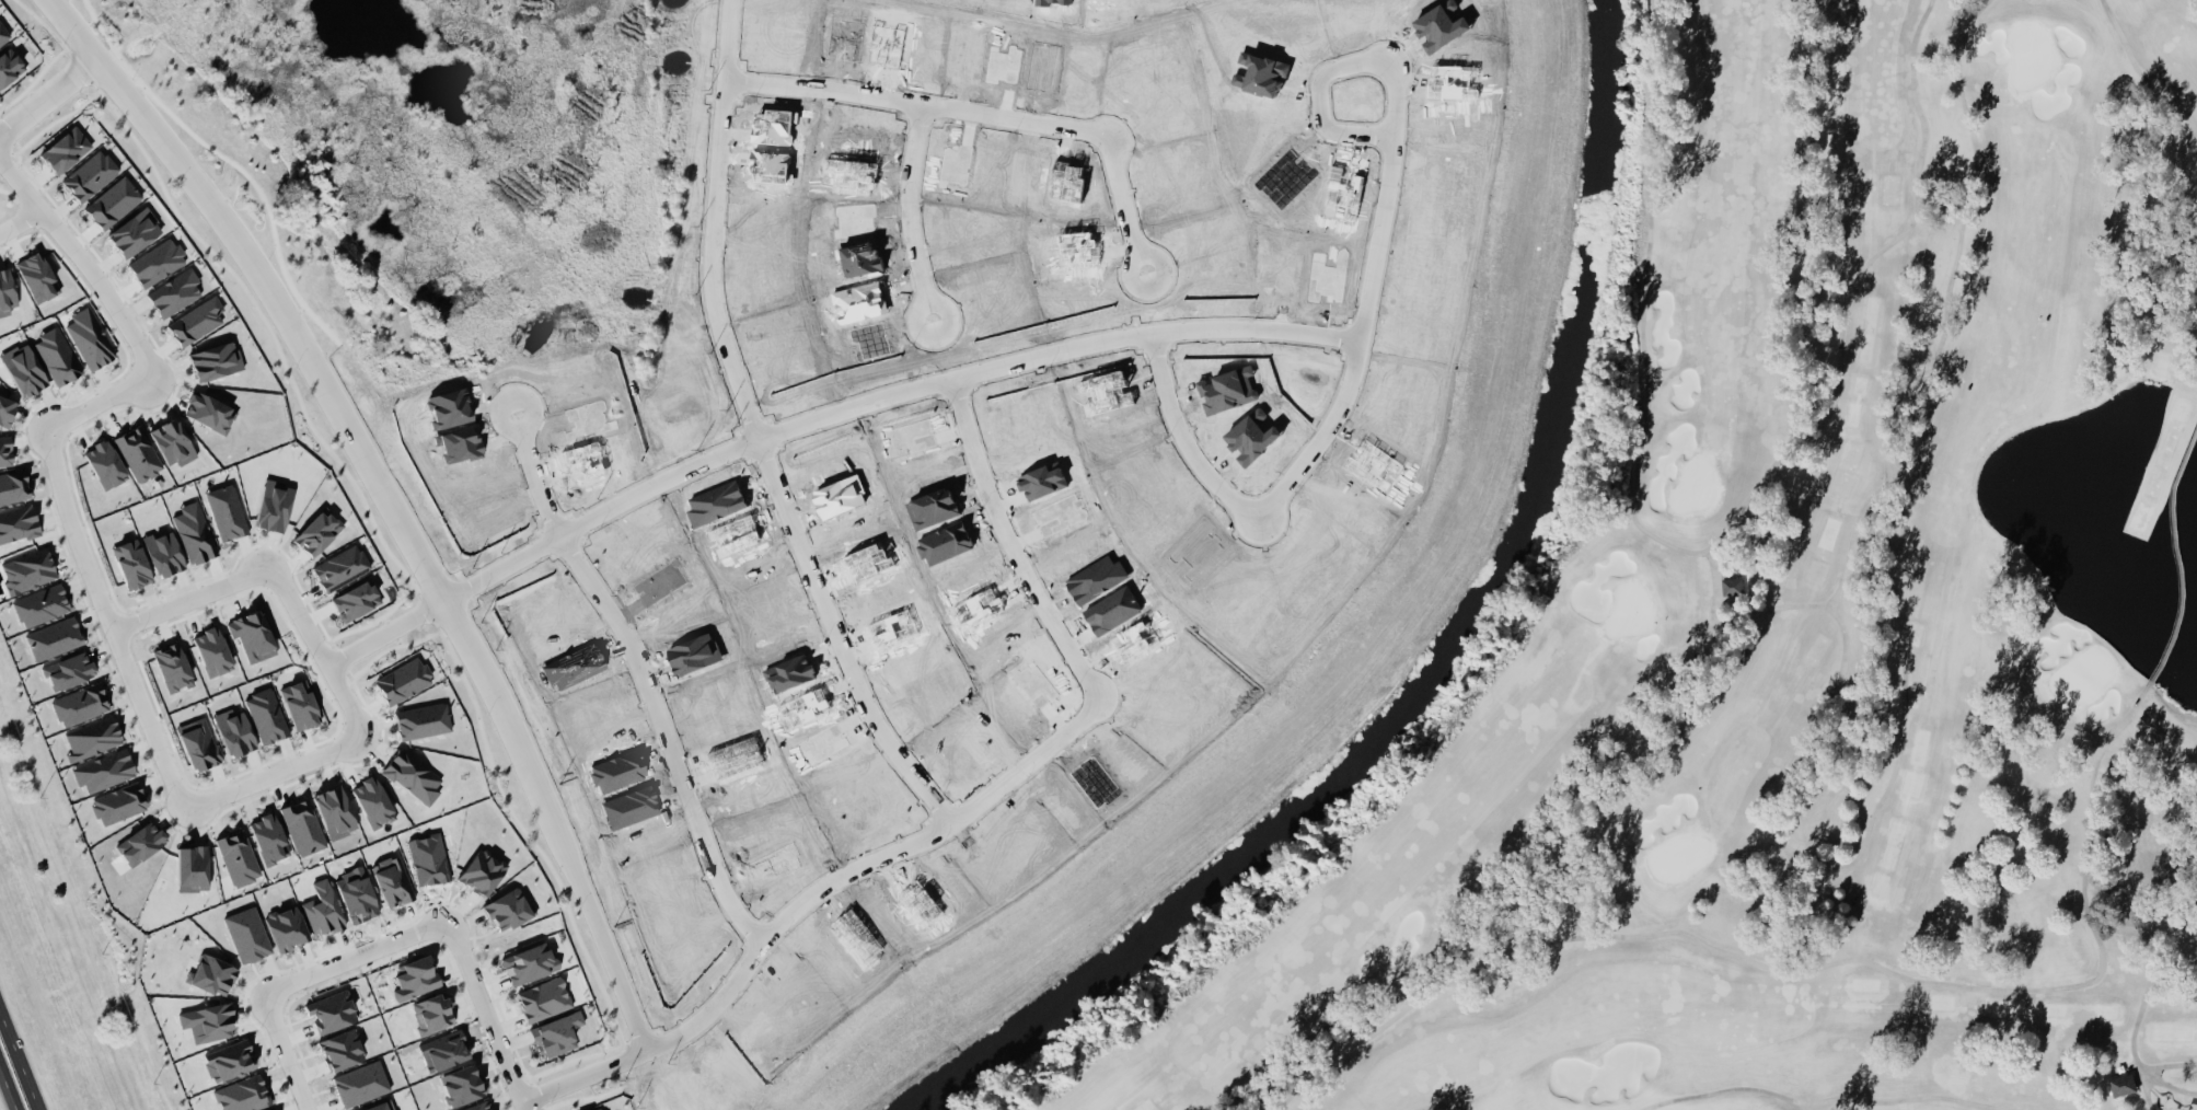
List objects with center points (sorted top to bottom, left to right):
building: (2, 36)
building: (9, 66)
road: (47, 95)
road: (973, 116)
road: (1392, 116)
building: (63, 149)
road: (231, 160)
building: (89, 175)
building: (112, 201)
road: (909, 204)
road: (19, 220)
road: (712, 223)
building: (134, 232)
building: (155, 262)
building: (36, 276)
road: (1128, 277)
building: (7, 291)
building: (174, 292)
road: (923, 300)
building: (195, 321)
building: (89, 337)
road: (1355, 354)
building: (56, 356)
building: (213, 360)
building: (23, 369)
road: (122, 390)
building: (5, 409)
building: (208, 411)
road: (519, 430)
building: (171, 441)
building: (4, 450)
building: (137, 452)
building: (104, 463)
road: (537, 484)
building: (12, 486)
building: (224, 511)
building: (178, 514)
road: (599, 516)
building: (18, 523)
building: (316, 531)
road: (421, 559)
building: (130, 563)
building: (339, 567)
building: (26, 569)
building: (1732, 583)
building: (354, 600)
building: (39, 604)
road: (385, 633)
building: (251, 635)
park: (1801, 635)
building: (53, 638)
building: (211, 650)
river: (1446, 657)
building: (172, 667)
building: (69, 670)
building: (402, 680)
building: (79, 704)
building: (299, 704)
building: (265, 715)
building: (421, 719)
road: (1074, 729)
building: (233, 731)
building: (91, 737)
road: (347, 738)
road: (664, 741)
building: (198, 744)
building: (103, 770)
building: (411, 775)
building: (371, 801)
building: (108, 805)
building: (334, 811)
building: (301, 826)
building: (268, 839)
building: (139, 843)
building: (236, 856)
building: (481, 871)
building: (390, 880)
building: (506, 907)
building: (321, 909)
road: (783, 922)
building: (286, 927)
building: (245, 934)
road: (389, 943)
building: (211, 974)
building: (414, 978)
building: (542, 998)
building: (329, 1010)
building: (430, 1013)
building: (339, 1049)
road: (21, 1056)
building: (229, 1060)
building: (359, 1083)
building: (2121, 1084)
road: (9, 1085)
building: (241, 1094)
building: (378, 1106)
building: (476, 1106)
building: (268, 1109)
building: (598, 1109)

